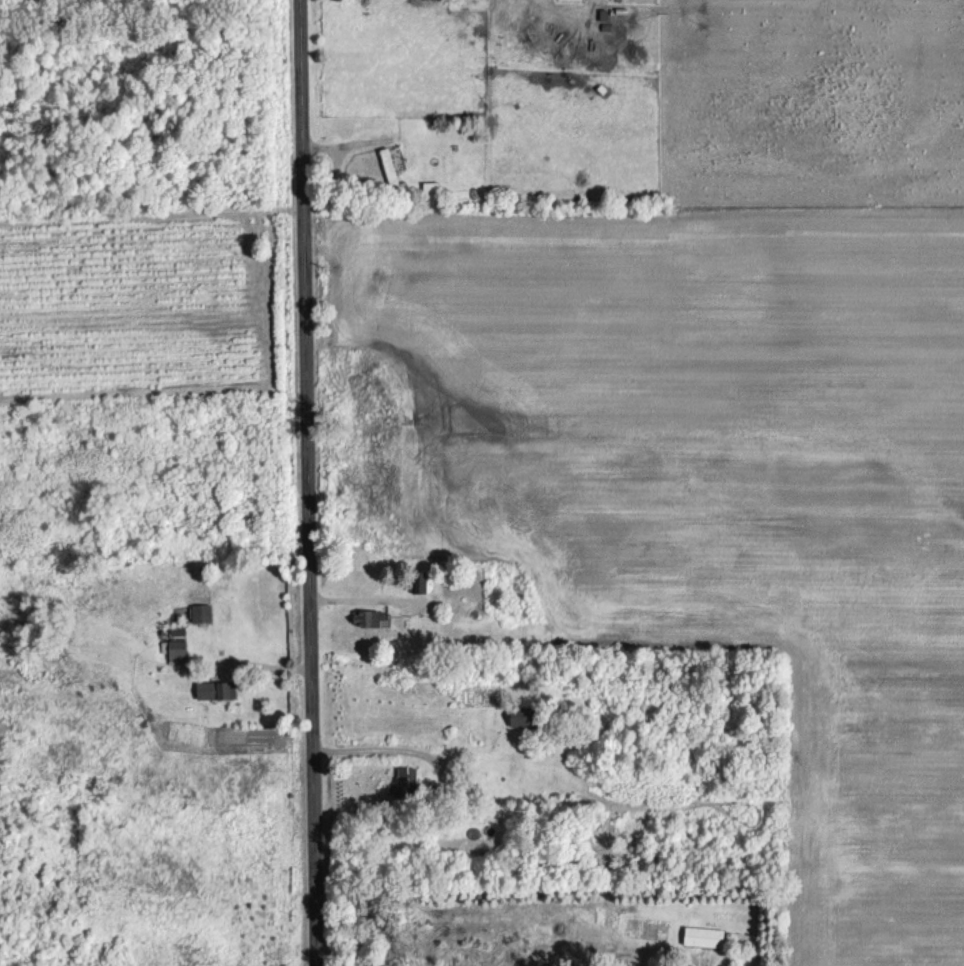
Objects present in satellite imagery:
building: (390, 171)
road: (305, 483)
building: (418, 583)
building: (200, 613)
building: (366, 619)
building: (176, 652)
building: (214, 690)
building: (517, 716)
building: (405, 776)
building: (702, 936)

